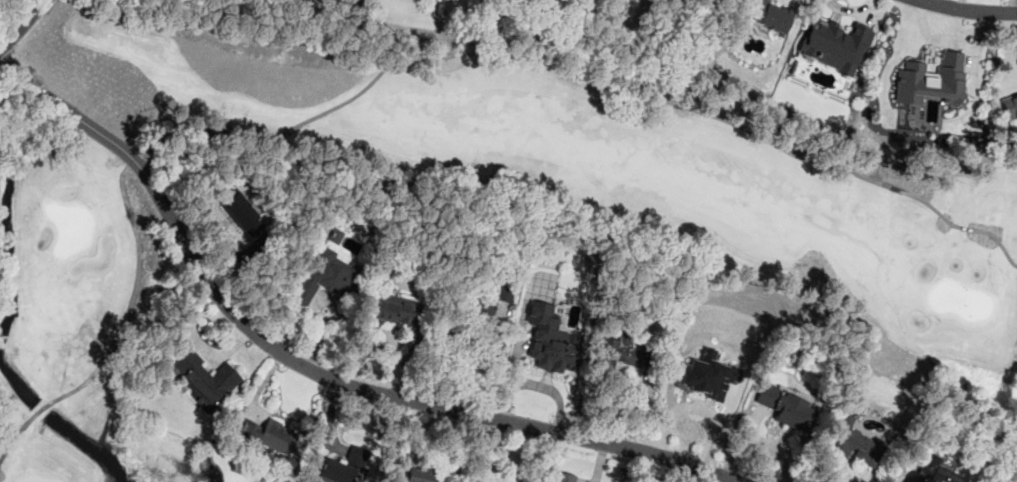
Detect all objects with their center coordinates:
road: (966, 9)
building: (768, 15)
road: (20, 24)
road: (34, 26)
building: (836, 45)
road: (5, 56)
road: (568, 72)
building: (932, 78)
building: (1010, 108)
road: (171, 131)
road: (133, 160)
building: (244, 214)
building: (336, 236)
park: (877, 246)
building: (322, 277)
building: (483, 305)
building: (392, 309)
road: (118, 334)
building: (551, 339)
road: (319, 340)
building: (619, 351)
road: (472, 365)
road: (307, 368)
building: (706, 376)
building: (205, 378)
road: (537, 387)
building: (786, 407)
building: (268, 436)
building: (853, 443)
park: (154, 460)
building: (346, 467)
building: (415, 470)
building: (934, 471)
building: (565, 477)

